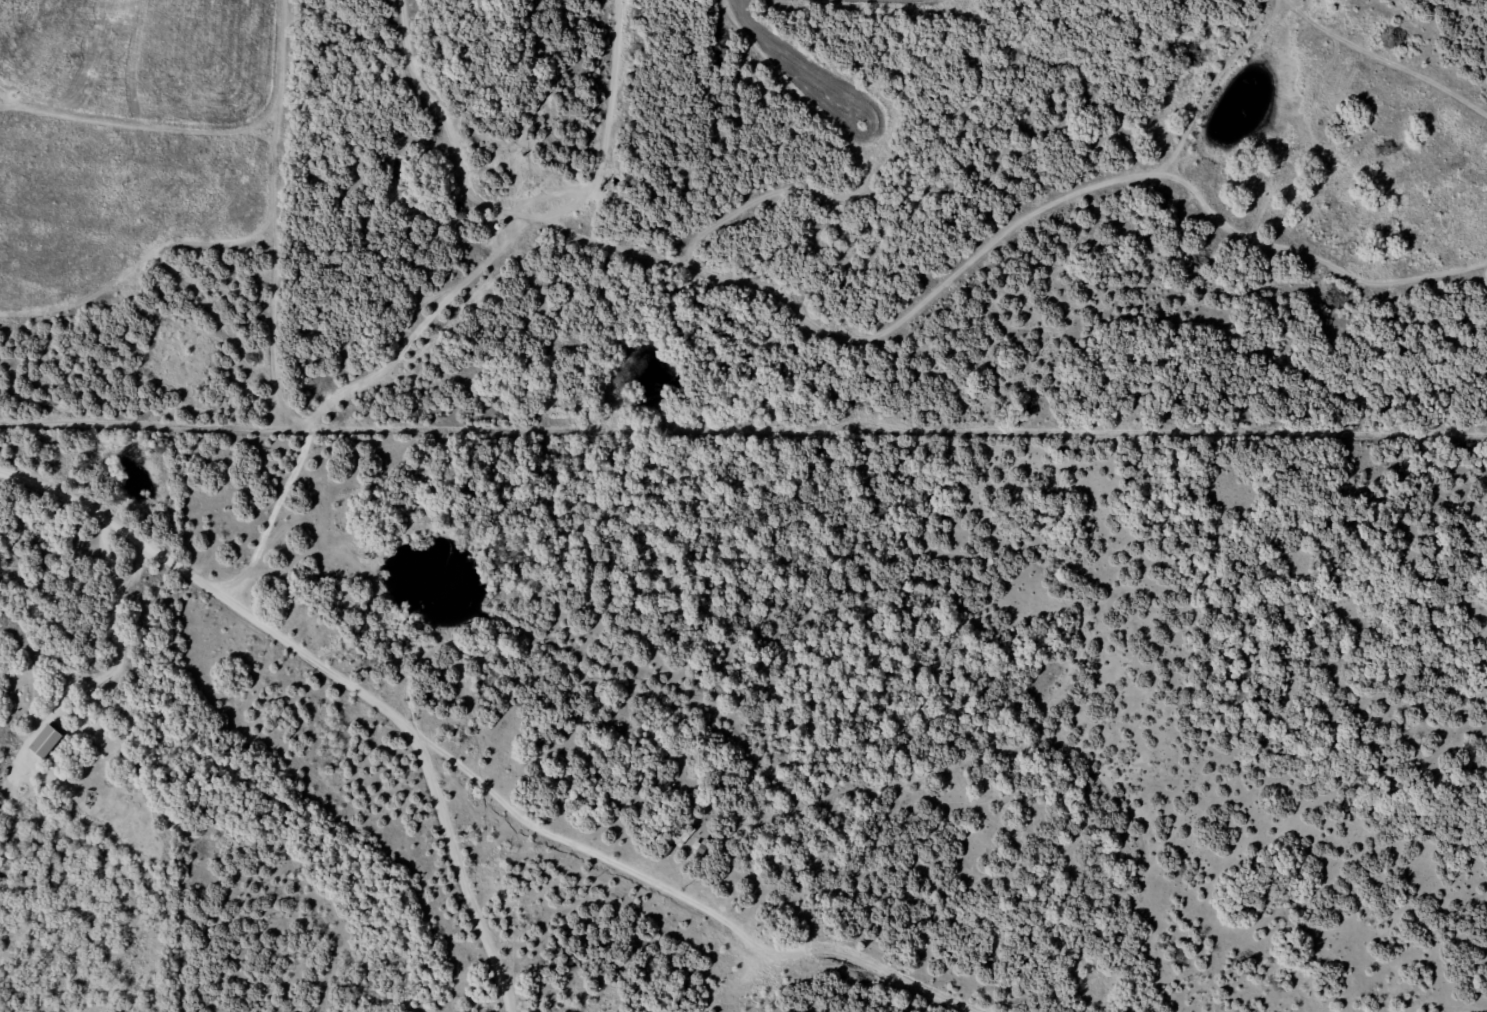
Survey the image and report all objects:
road: (1420, 70)
road: (601, 104)
road: (20, 139)
road: (1031, 230)
road: (503, 252)
road: (392, 390)
road: (254, 615)
building: (48, 745)
building: (683, 839)
road: (698, 895)
road: (481, 917)

